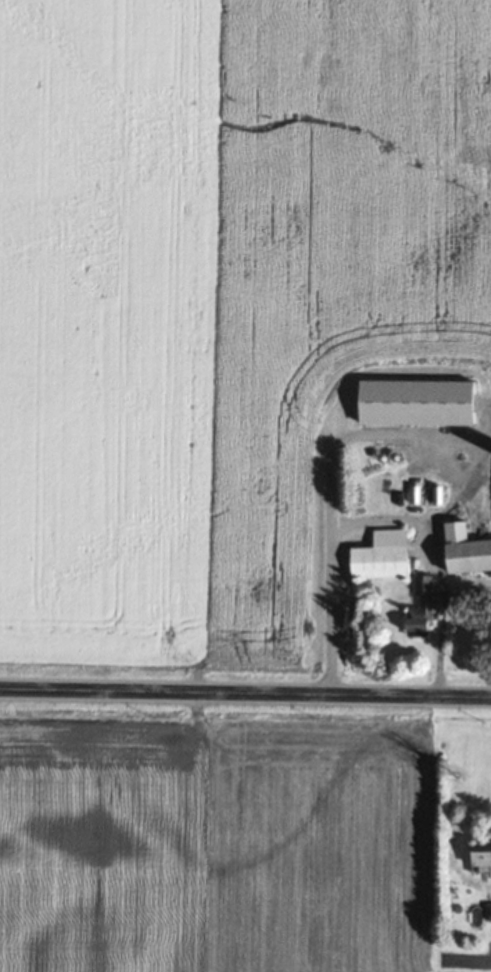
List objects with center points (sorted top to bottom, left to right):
road: (350, 520)
building: (465, 547)
building: (380, 553)
building: (419, 604)
road: (438, 637)
road: (245, 692)
building: (480, 856)
building: (487, 909)

